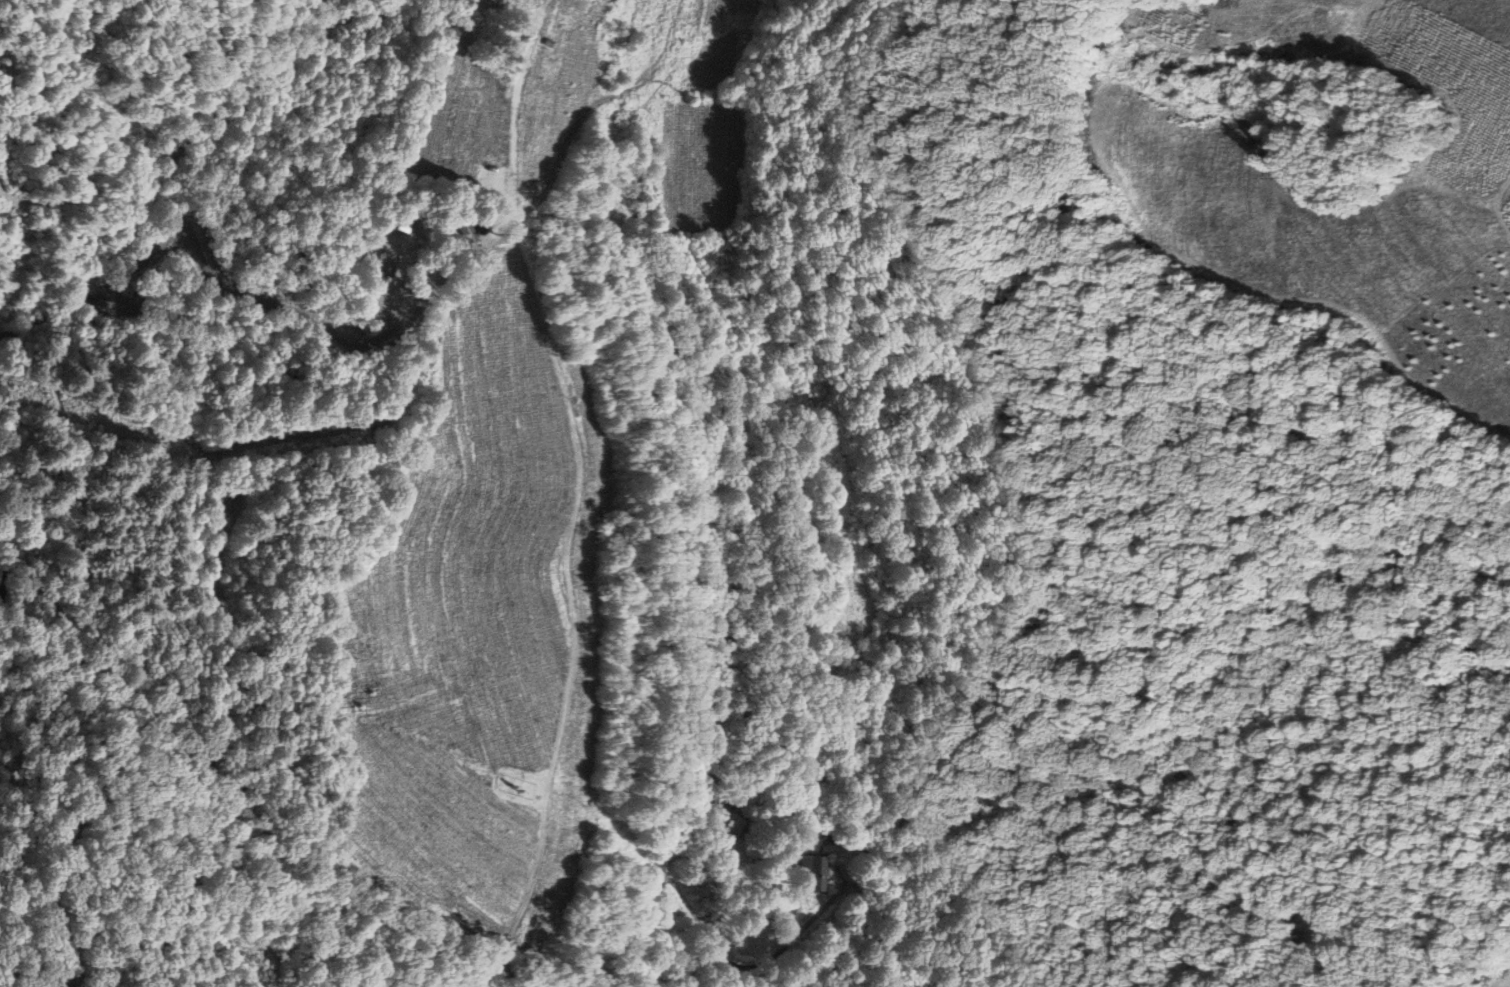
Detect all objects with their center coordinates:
building: (493, 40)
building: (215, 498)
road: (3, 558)
road: (267, 823)
building: (799, 874)

